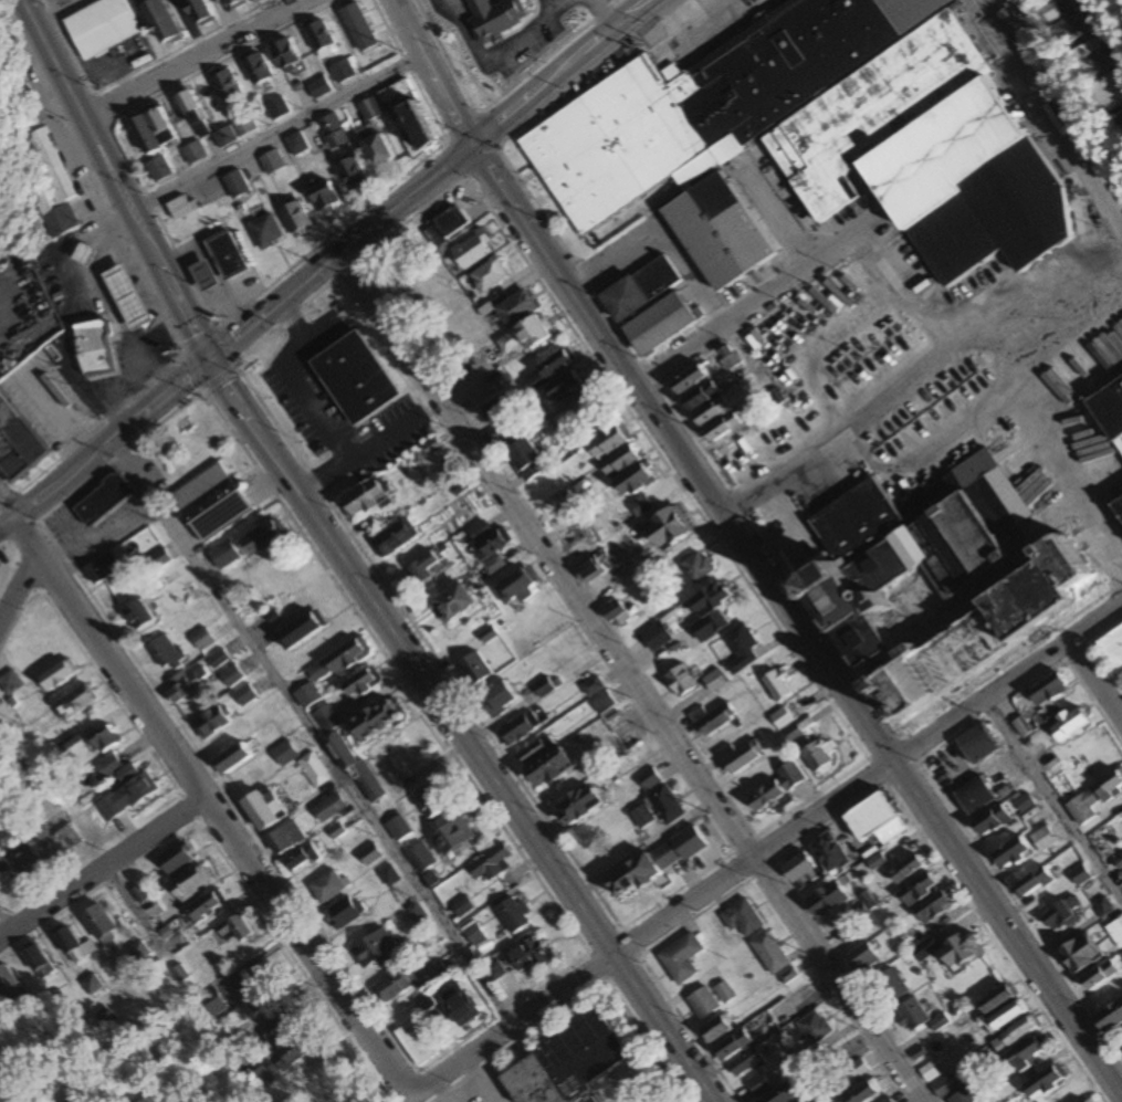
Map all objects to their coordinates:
building: (247, 0)
building: (1042, 2)
building: (234, 3)
road: (52, 11)
building: (494, 18)
building: (158, 21)
building: (99, 28)
building: (356, 29)
building: (319, 39)
building: (284, 56)
building: (1090, 61)
road: (195, 62)
building: (254, 70)
building: (340, 72)
road: (430, 73)
building: (224, 86)
building: (317, 88)
road: (1062, 92)
building: (1109, 93)
building: (368, 109)
building: (407, 119)
building: (242, 125)
building: (149, 132)
building: (331, 132)
road: (272, 133)
building: (222, 137)
building: (815, 137)
building: (294, 144)
building: (376, 150)
building: (192, 153)
building: (270, 162)
building: (157, 169)
building: (350, 174)
road: (426, 182)
road: (111, 185)
building: (234, 185)
building: (49, 187)
building: (323, 198)
building: (180, 208)
building: (294, 218)
building: (444, 227)
building: (263, 232)
building: (473, 249)
building: (1, 250)
building: (82, 254)
building: (226, 255)
building: (407, 256)
building: (487, 274)
building: (384, 275)
building: (202, 276)
building: (640, 287)
building: (125, 296)
building: (424, 297)
road: (769, 300)
building: (515, 307)
building: (659, 323)
building: (525, 335)
building: (93, 348)
road: (915, 359)
building: (730, 360)
building: (548, 369)
traffic signals: (205, 370)
building: (354, 378)
building: (688, 379)
building: (563, 388)
building: (583, 405)
building: (1110, 408)
building: (711, 412)
building: (487, 417)
building: (609, 441)
building: (15, 442)
road: (111, 452)
building: (525, 459)
building: (619, 461)
building: (633, 481)
road: (266, 485)
building: (364, 497)
building: (102, 500)
road: (14, 504)
building: (216, 504)
building: (1119, 504)
building: (665, 527)
building: (262, 537)
building: (394, 537)
road: (8, 538)
building: (486, 539)
road: (25, 546)
road: (12, 553)
building: (222, 554)
building: (158, 558)
building: (493, 565)
building: (423, 566)
building: (698, 566)
building: (101, 568)
building: (588, 569)
building: (941, 575)
building: (516, 585)
road: (18, 590)
building: (710, 598)
building: (453, 602)
building: (612, 610)
building: (137, 615)
road: (793, 626)
building: (300, 630)
building: (656, 637)
building: (201, 640)
building: (1113, 646)
building: (741, 648)
building: (166, 653)
building: (346, 655)
building: (217, 660)
building: (473, 669)
building: (316, 673)
building: (56, 675)
building: (230, 676)
road: (629, 678)
building: (680, 681)
building: (714, 681)
building: (10, 683)
building: (187, 683)
building: (360, 683)
road: (1095, 684)
building: (776, 685)
building: (1049, 691)
building: (597, 695)
building: (243, 696)
building: (306, 696)
building: (499, 696)
building: (75, 702)
building: (713, 718)
building: (780, 718)
building: (324, 720)
building: (375, 721)
building: (210, 723)
building: (1068, 724)
building: (518, 728)
road: (319, 734)
road: (462, 735)
building: (104, 741)
building: (976, 744)
building: (534, 749)
building: (284, 754)
building: (815, 755)
building: (742, 756)
building: (231, 758)
building: (109, 765)
building: (354, 767)
building: (548, 767)
building: (313, 769)
building: (648, 779)
road: (871, 785)
building: (1112, 785)
building: (776, 786)
building: (973, 796)
building: (125, 797)
building: (430, 800)
road: (1055, 800)
building: (664, 805)
building: (328, 807)
building: (262, 808)
building: (1083, 808)
building: (641, 817)
building: (874, 819)
building: (990, 820)
road: (219, 829)
building: (450, 837)
building: (285, 838)
building: (1044, 839)
building: (45, 851)
building: (830, 853)
building: (1011, 853)
building: (369, 854)
building: (420, 857)
building: (177, 858)
building: (300, 858)
building: (654, 862)
building: (905, 870)
building: (800, 871)
road: (102, 875)
building: (389, 875)
building: (1080, 875)
building: (1032, 882)
building: (188, 883)
building: (326, 886)
building: (917, 890)
building: (826, 899)
building: (205, 906)
building: (932, 907)
building: (345, 912)
building: (415, 913)
building: (1060, 914)
building: (512, 915)
building: (741, 919)
building: (101, 924)
road: (6, 925)
building: (852, 925)
building: (234, 927)
building: (1115, 932)
building: (473, 934)
building: (73, 945)
building: (371, 948)
building: (961, 949)
building: (769, 953)
building: (1079, 953)
building: (527, 955)
building: (862, 957)
building: (680, 958)
building: (38, 963)
building: (1099, 975)
building: (255, 979)
building: (9, 985)
building: (394, 985)
building: (91, 986)
building: (890, 986)
road: (124, 988)
building: (724, 993)
building: (997, 998)
building: (421, 1003)
building: (703, 1003)
building: (459, 1005)
building: (911, 1015)
building: (1005, 1016)
building: (1110, 1017)
building: (104, 1018)
building: (939, 1022)
road: (513, 1027)
building: (814, 1027)
building: (279, 1028)
building: (715, 1029)
building: (1014, 1035)
building: (413, 1043)
building: (732, 1046)
building: (1027, 1052)
building: (291, 1053)
building: (745, 1064)
building: (570, 1073)
building: (851, 1073)
building: (262, 1078)
road: (478, 1081)
building: (1044, 1082)
building: (757, 1084)
building: (944, 1084)
parking lot: (483, 1092)
building: (863, 1092)
building: (782, 1094)
building: (963, 1096)
building: (74, 1100)
building: (1089, 1100)
building: (81, 1101)
building: (803, 1101)
building: (887, 1101)

